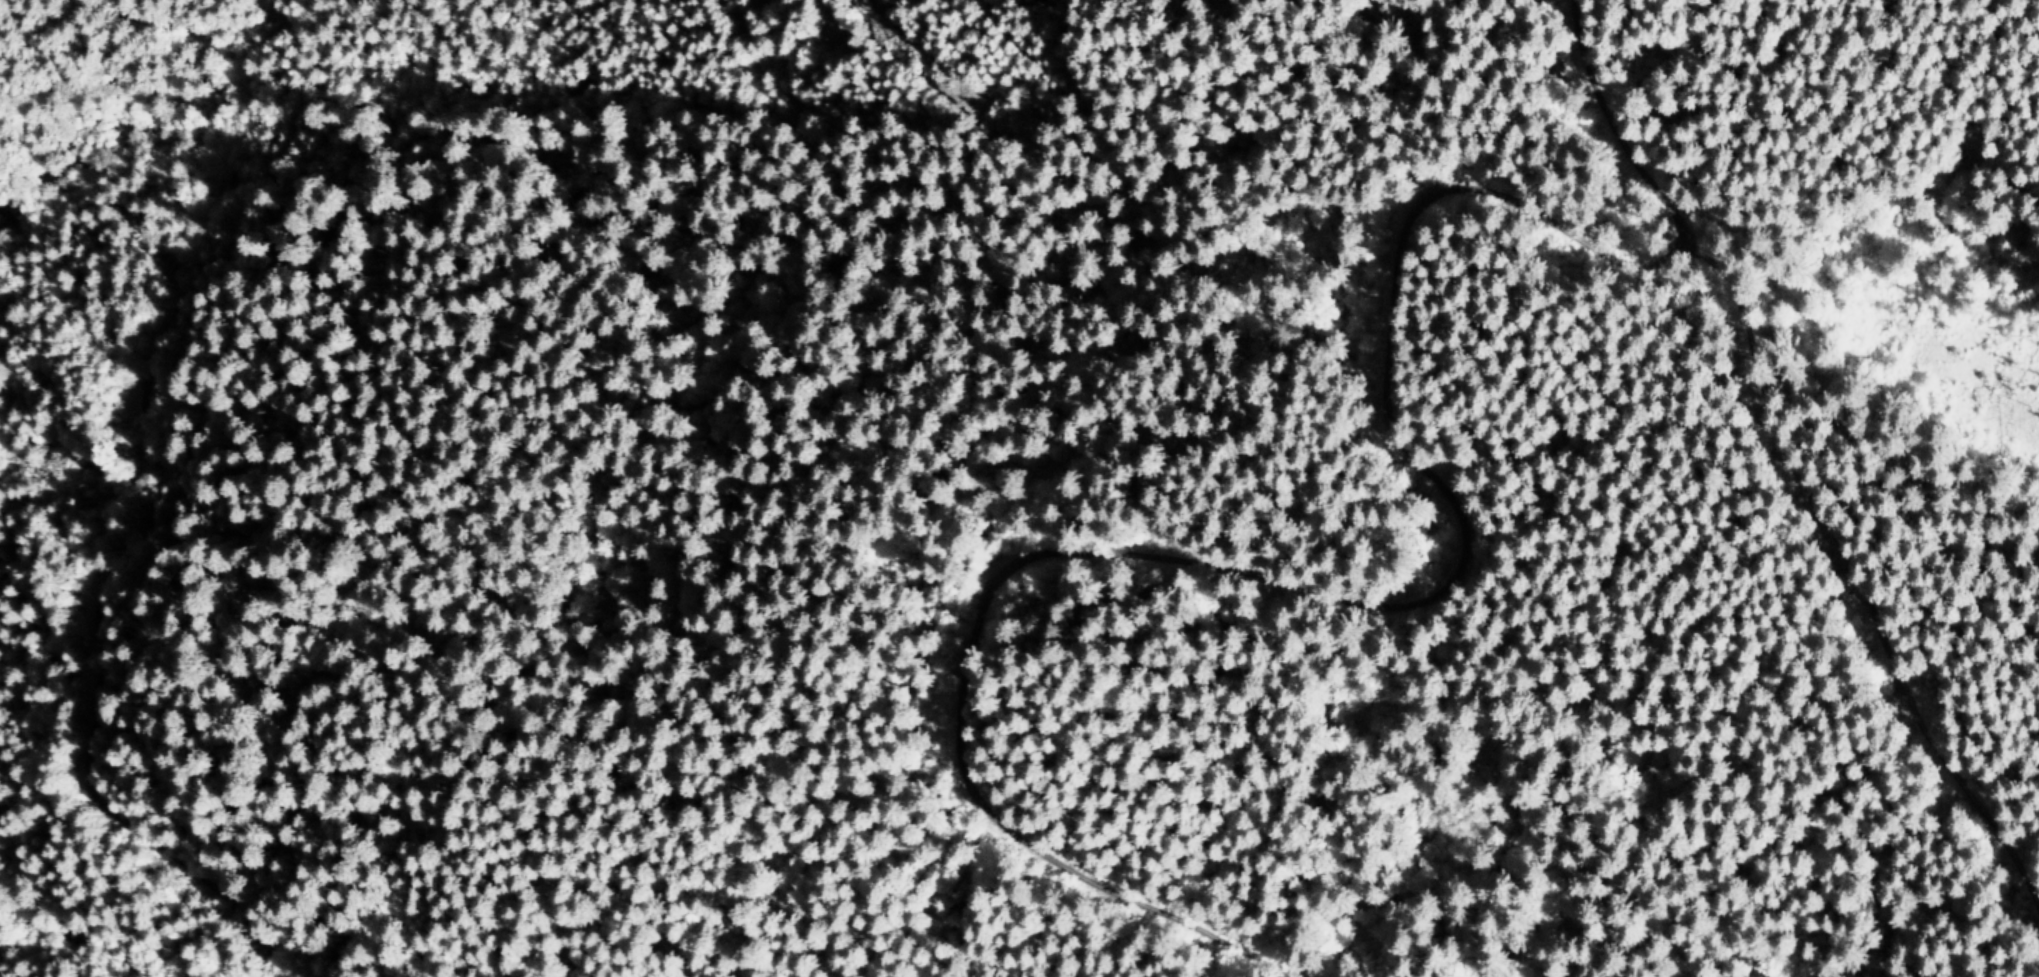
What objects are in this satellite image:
road: (1709, 366)

